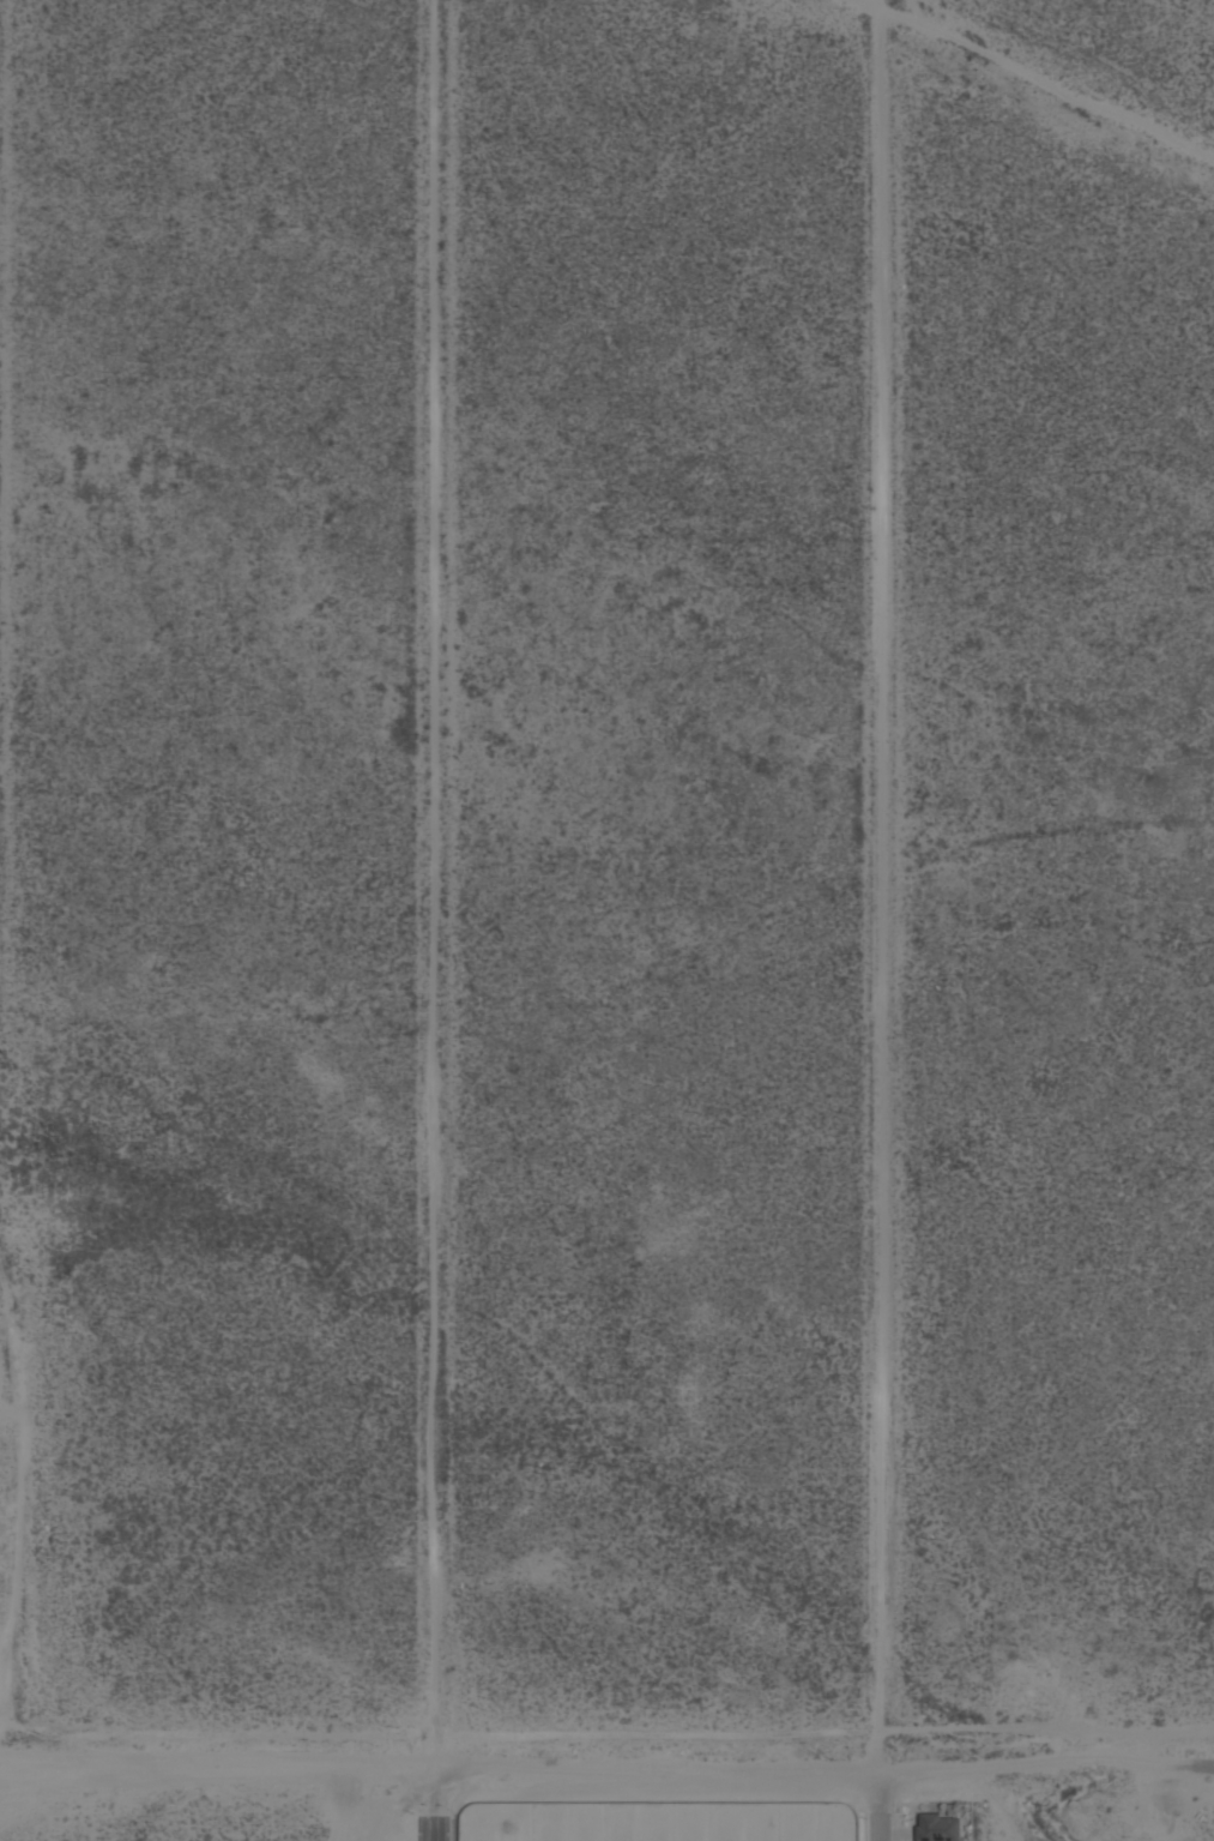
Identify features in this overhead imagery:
road: (1040, 80)
road: (0, 391)
road: (439, 885)
road: (880, 889)
road: (221, 1770)
road: (827, 1771)
road: (440, 1806)
road: (883, 1806)
building: (937, 1828)
building: (475, 1831)
building: (581, 1837)
building: (833, 1837)
building: (508, 1839)

